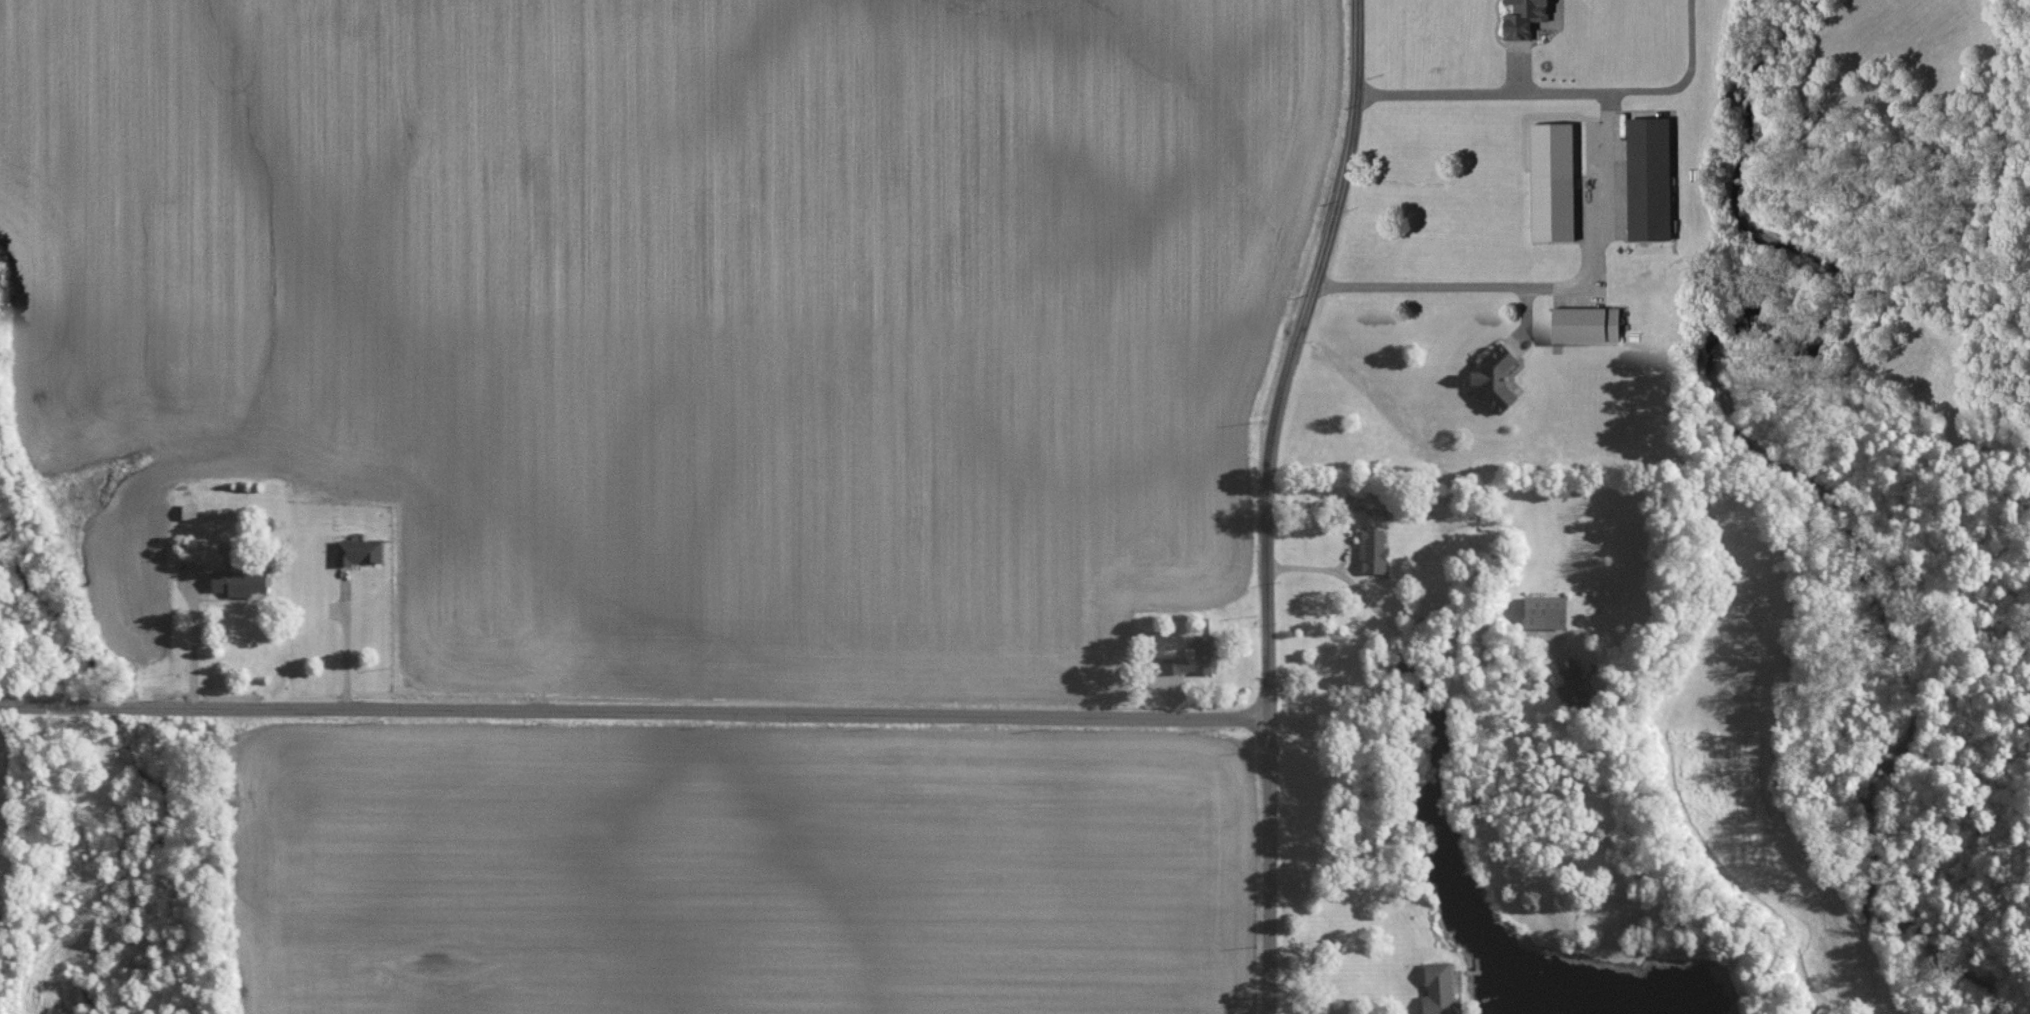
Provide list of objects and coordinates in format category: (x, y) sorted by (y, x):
building: (1524, 18)
building: (1648, 179)
road: (1602, 196)
building: (1552, 208)
building: (1585, 324)
building: (1496, 376)
road: (1268, 501)
building: (1373, 549)
building: (359, 550)
building: (240, 581)
building: (1546, 611)
road: (1398, 627)
road: (346, 641)
road: (198, 647)
building: (1193, 657)
building: (1574, 684)
road: (635, 710)
building: (1, 921)
building: (1439, 988)

